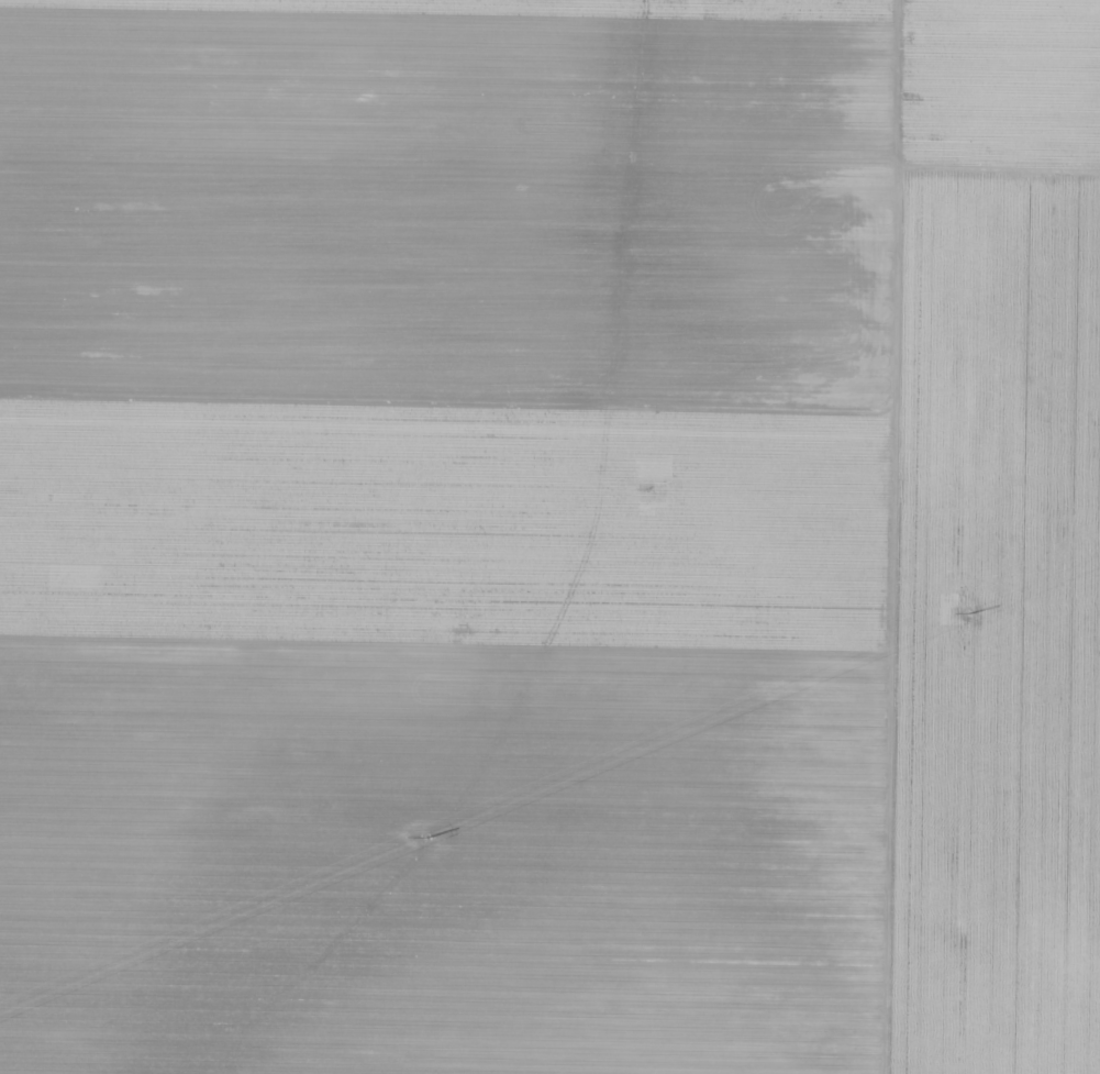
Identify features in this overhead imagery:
power tower: (971, 612)
power tower: (424, 838)

